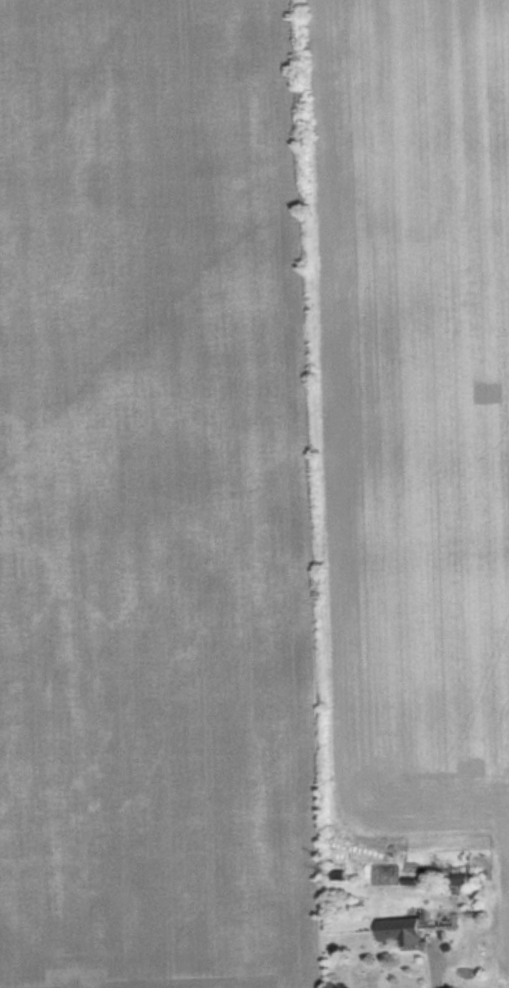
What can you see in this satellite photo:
building: (461, 877)
building: (404, 934)

